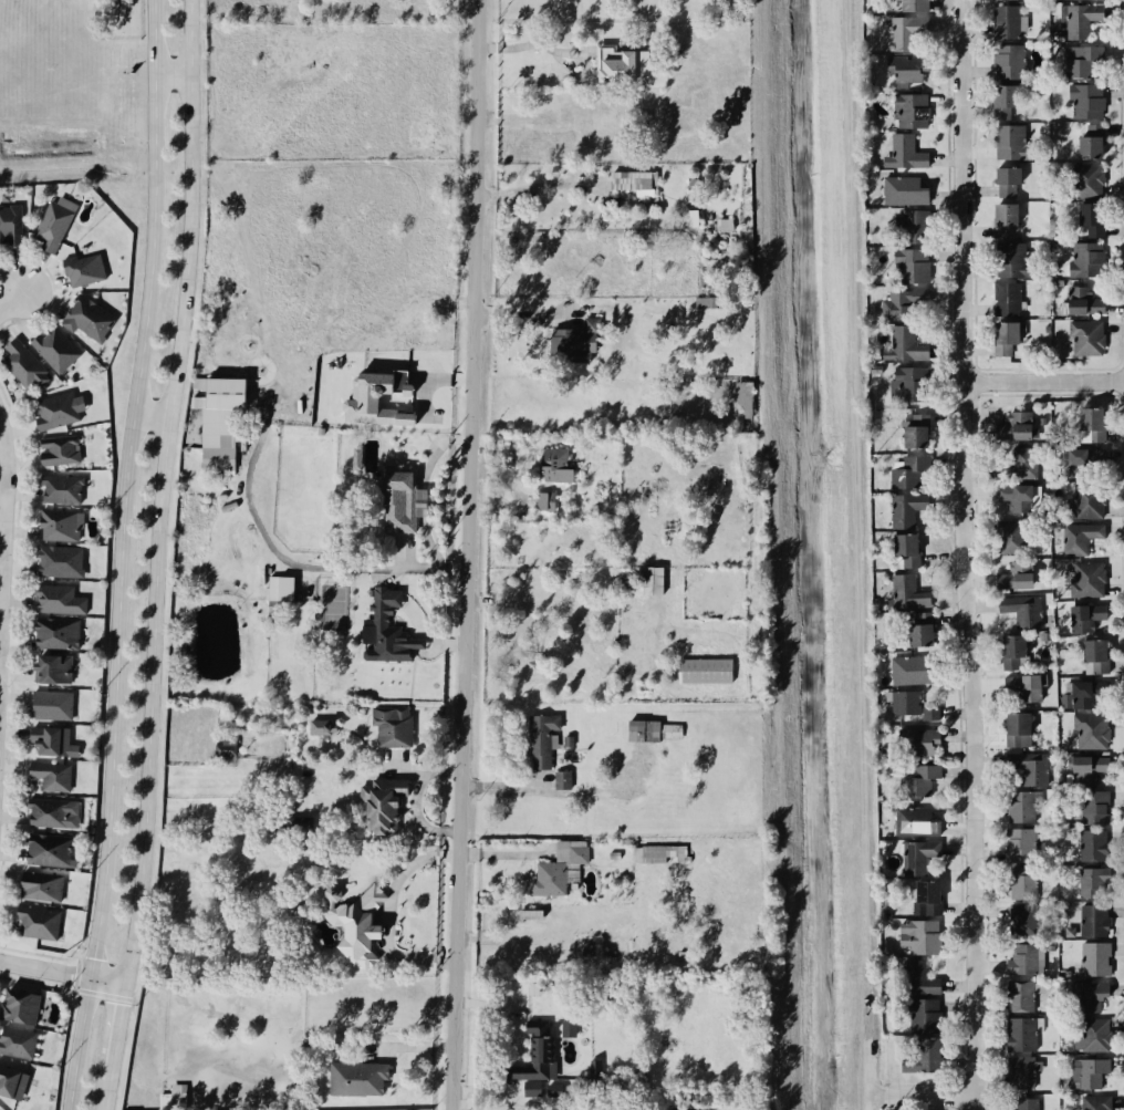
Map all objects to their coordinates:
building: (903, 6)
building: (1079, 21)
building: (1003, 22)
building: (903, 34)
road: (530, 46)
building: (1006, 62)
building: (1081, 62)
building: (620, 63)
building: (899, 71)
building: (1002, 98)
building: (1083, 102)
building: (907, 110)
building: (1007, 141)
building: (1085, 146)
building: (904, 151)
building: (1081, 177)
building: (629, 180)
building: (1008, 180)
road: (535, 186)
building: (904, 190)
building: (691, 217)
building: (1005, 218)
building: (1087, 220)
building: (10, 224)
building: (52, 225)
building: (912, 225)
building: (1084, 258)
building: (1006, 259)
building: (914, 263)
building: (82, 270)
road: (54, 291)
building: (1002, 299)
building: (1079, 299)
building: (903, 301)
road: (11, 302)
building: (705, 302)
building: (87, 319)
building: (1001, 338)
building: (1082, 338)
building: (901, 343)
building: (54, 346)
building: (569, 346)
building: (21, 364)
road: (1047, 380)
building: (903, 382)
building: (748, 397)
building: (377, 398)
building: (415, 404)
building: (55, 408)
road: (150, 412)
building: (216, 423)
building: (1011, 425)
building: (1091, 425)
building: (909, 435)
building: (55, 448)
building: (1085, 460)
building: (552, 464)
building: (1011, 465)
street lamp: (15, 470)
building: (908, 474)
building: (58, 488)
road: (2, 492)
road: (159, 492)
building: (1010, 494)
building: (1083, 499)
building: (543, 501)
building: (392, 502)
building: (901, 510)
building: (56, 523)
building: (1011, 537)
building: (1082, 538)
building: (898, 550)
road: (472, 554)
road: (971, 554)
road: (119, 556)
building: (58, 560)
road: (294, 564)
building: (1082, 578)
building: (1011, 579)
building: (647, 580)
building: (280, 588)
building: (904, 593)
building: (55, 597)
building: (1019, 610)
building: (1084, 615)
road: (13, 625)
building: (383, 625)
building: (920, 631)
building: (52, 632)
building: (1009, 652)
building: (1090, 654)
building: (50, 666)
building: (908, 667)
building: (700, 671)
street lamp: (7, 684)
building: (1020, 687)
building: (1084, 693)
building: (49, 703)
building: (899, 704)
building: (930, 712)
building: (323, 726)
building: (388, 726)
building: (1013, 729)
building: (652, 730)
building: (1087, 733)
building: (538, 737)
building: (50, 738)
building: (565, 740)
building: (918, 741)
building: (225, 747)
building: (1084, 768)
building: (1023, 771)
building: (48, 774)
building: (917, 780)
building: (561, 782)
building: (378, 803)
building: (1013, 805)
building: (1087, 805)
building: (49, 811)
building: (915, 821)
building: (299, 823)
building: (1014, 843)
building: (1089, 843)
building: (44, 848)
building: (657, 854)
building: (917, 855)
building: (574, 857)
building: (544, 878)
building: (1017, 881)
building: (1090, 883)
building: (37, 884)
building: (928, 896)
road: (387, 912)
building: (33, 920)
building: (1018, 920)
building: (1091, 920)
building: (350, 921)
building: (923, 937)
road: (39, 953)
road: (77, 958)
building: (1018, 959)
building: (1092, 959)
road: (61, 973)
road: (76, 975)
street lamp: (37, 978)
building: (917, 979)
road: (39, 983)
road: (72, 989)
road: (103, 994)
building: (1090, 995)
building: (1017, 996)
road: (132, 1000)
building: (21, 1007)
building: (919, 1014)
building: (569, 1028)
road: (115, 1033)
building: (1019, 1033)
building: (1089, 1036)
building: (18, 1042)
building: (528, 1052)
building: (919, 1055)
building: (1019, 1070)
building: (1084, 1071)
building: (354, 1077)
building: (641, 1081)
building: (12, 1082)
building: (532, 1088)
building: (554, 1090)
road: (106, 1095)
road: (939, 1095)
building: (173, 1098)
building: (1092, 1102)
building: (1020, 1103)

